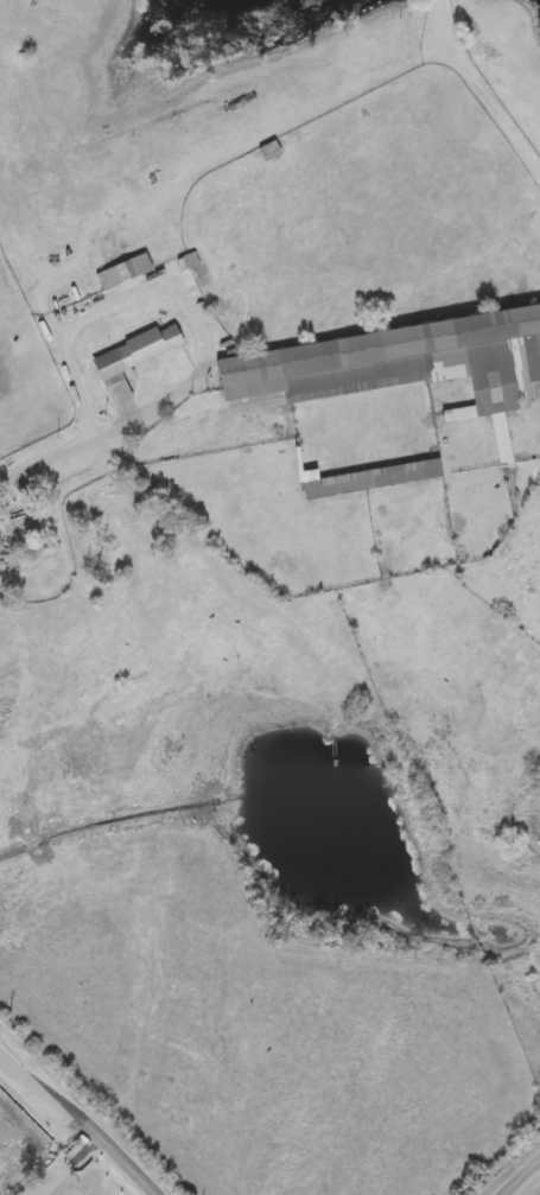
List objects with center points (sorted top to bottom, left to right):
road: (167, 286)
building: (138, 352)
building: (401, 367)
building: (119, 394)
road: (55, 460)
building: (425, 470)
building: (307, 478)
road: (74, 1118)
road: (64, 1167)
road: (520, 1176)

